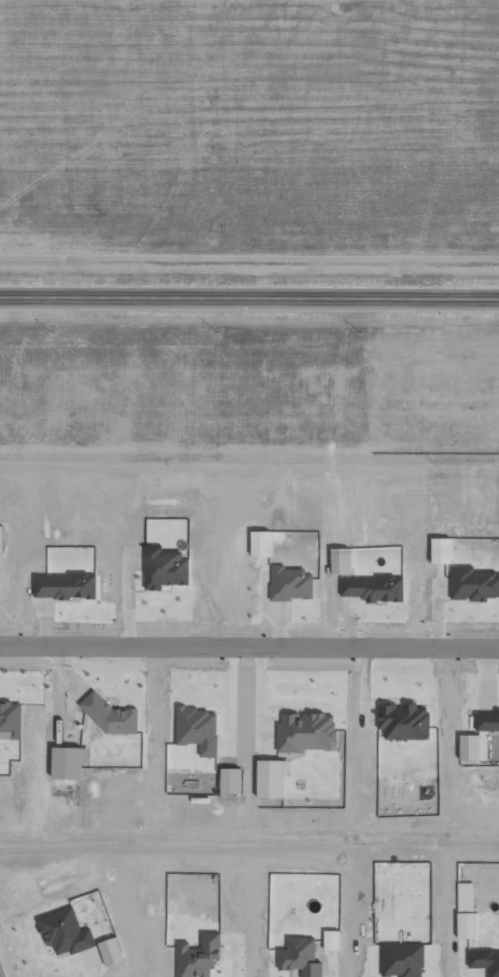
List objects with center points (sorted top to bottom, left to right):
road: (249, 300)
building: (0, 537)
building: (260, 543)
building: (440, 550)
building: (164, 568)
building: (290, 583)
building: (473, 584)
building: (64, 586)
building: (373, 588)
road: (249, 644)
building: (112, 716)
building: (10, 721)
building: (403, 721)
building: (487, 721)
building: (197, 730)
building: (306, 732)
building: (469, 747)
building: (68, 761)
building: (271, 778)
building: (466, 925)
building: (64, 932)
building: (331, 940)
building: (110, 952)
building: (198, 956)
building: (300, 957)
building: (402, 960)
building: (485, 961)

